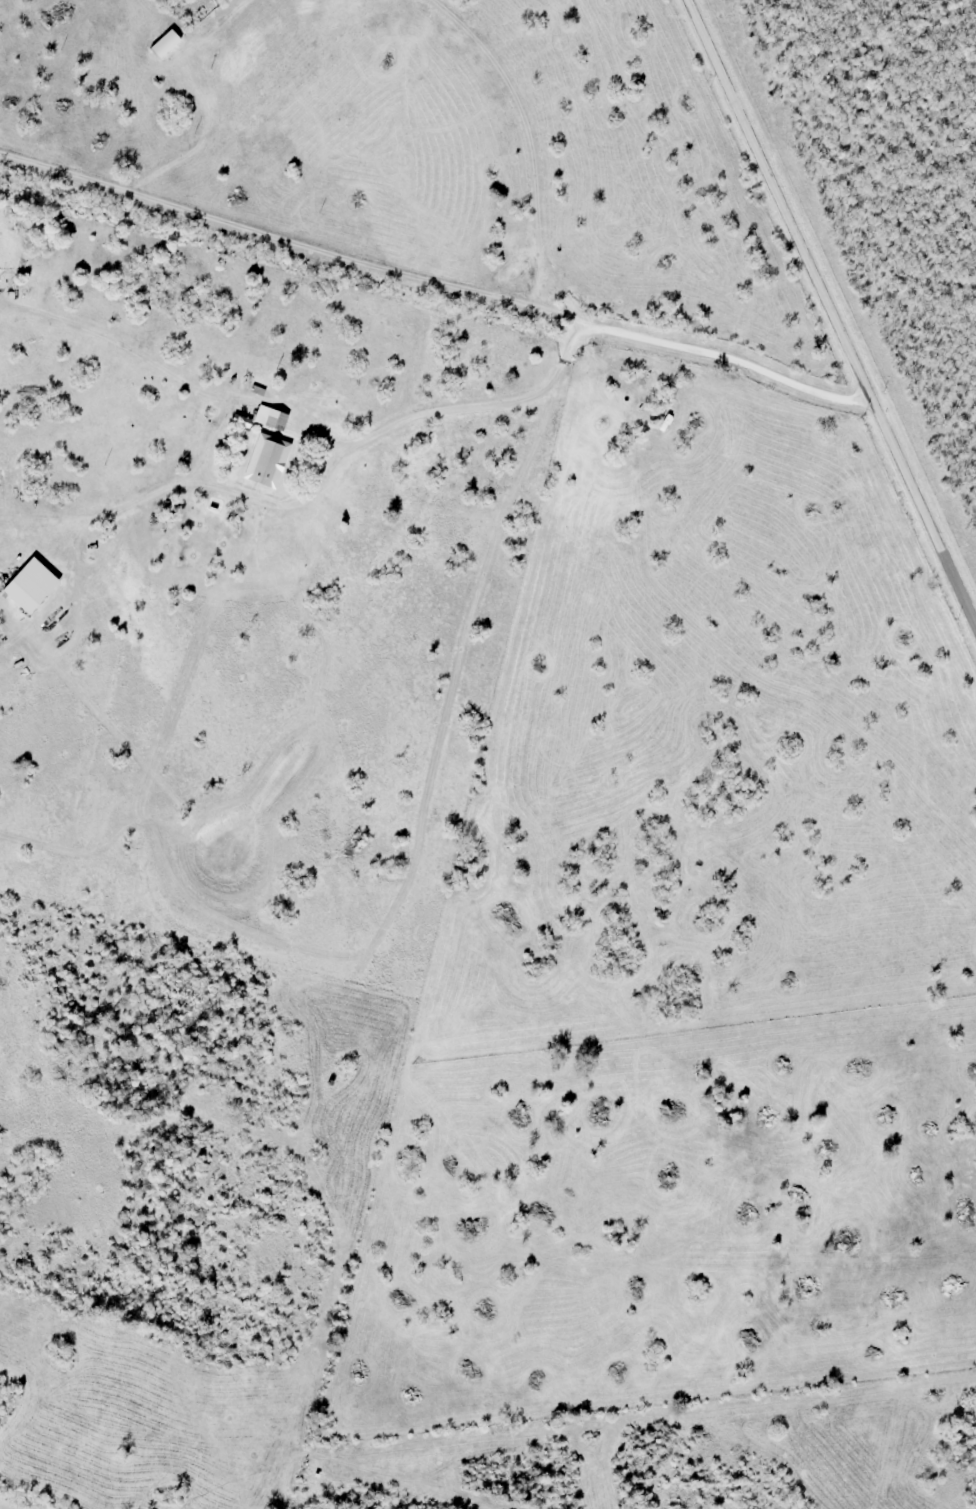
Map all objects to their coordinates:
building: (191, 18)
building: (164, 45)
road: (435, 274)
road: (835, 309)
building: (256, 371)
building: (230, 381)
building: (258, 390)
building: (299, 416)
building: (270, 418)
building: (282, 457)

